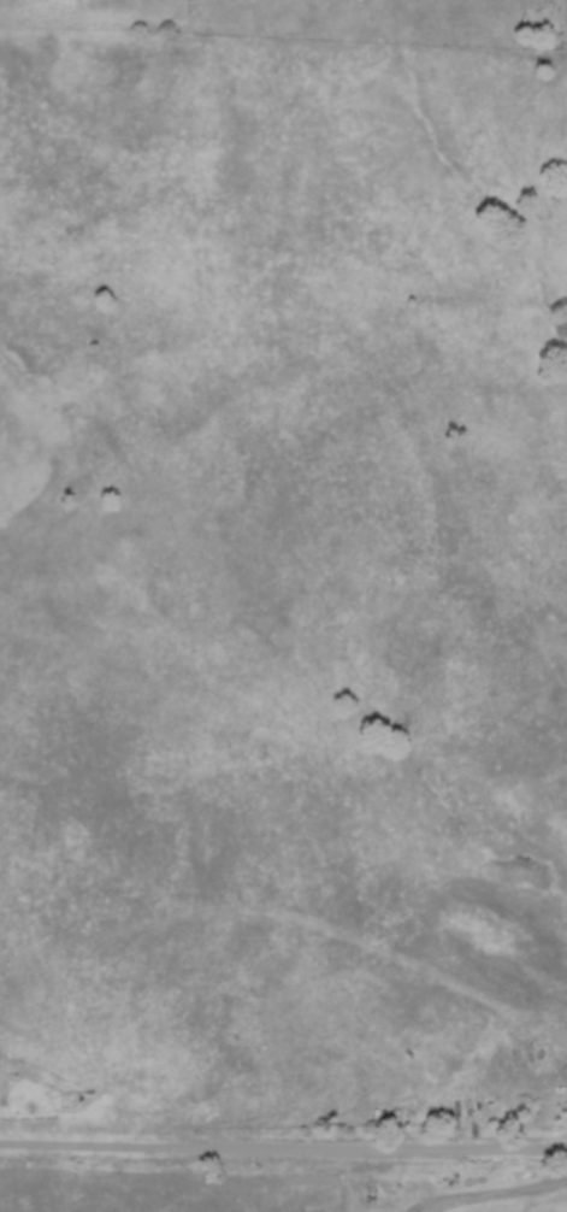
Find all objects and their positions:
building: (545, 1063)
road: (283, 1157)

